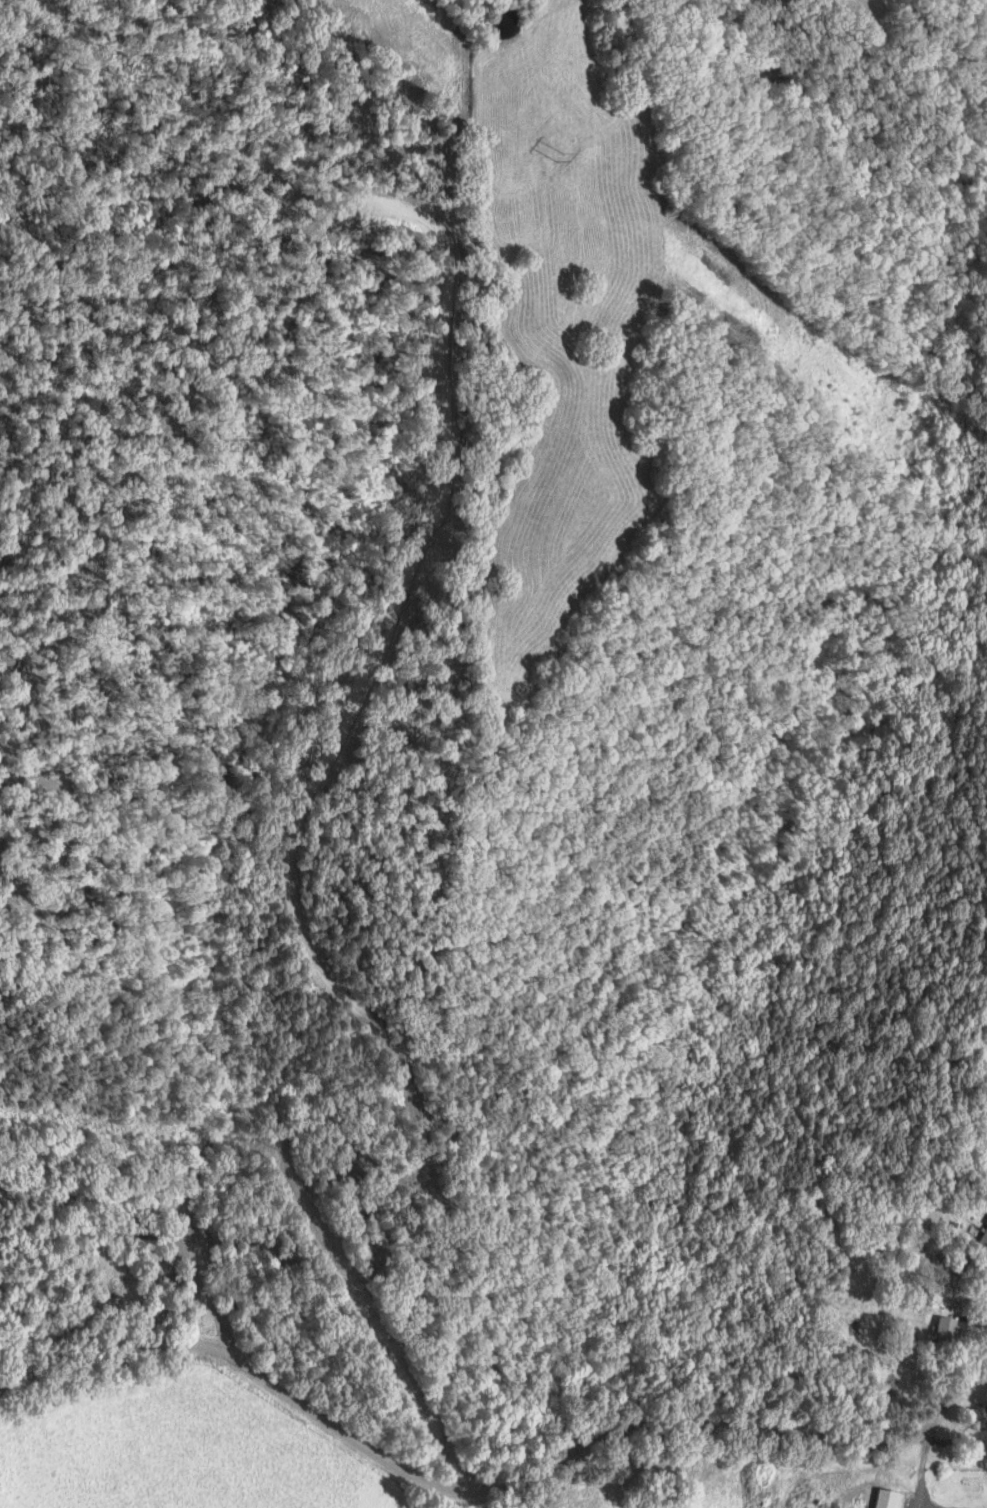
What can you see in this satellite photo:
power tower: (563, 161)
building: (983, 1241)
road: (982, 1264)
building: (952, 1270)
building: (948, 1330)
building: (981, 1415)
road: (497, 1481)

